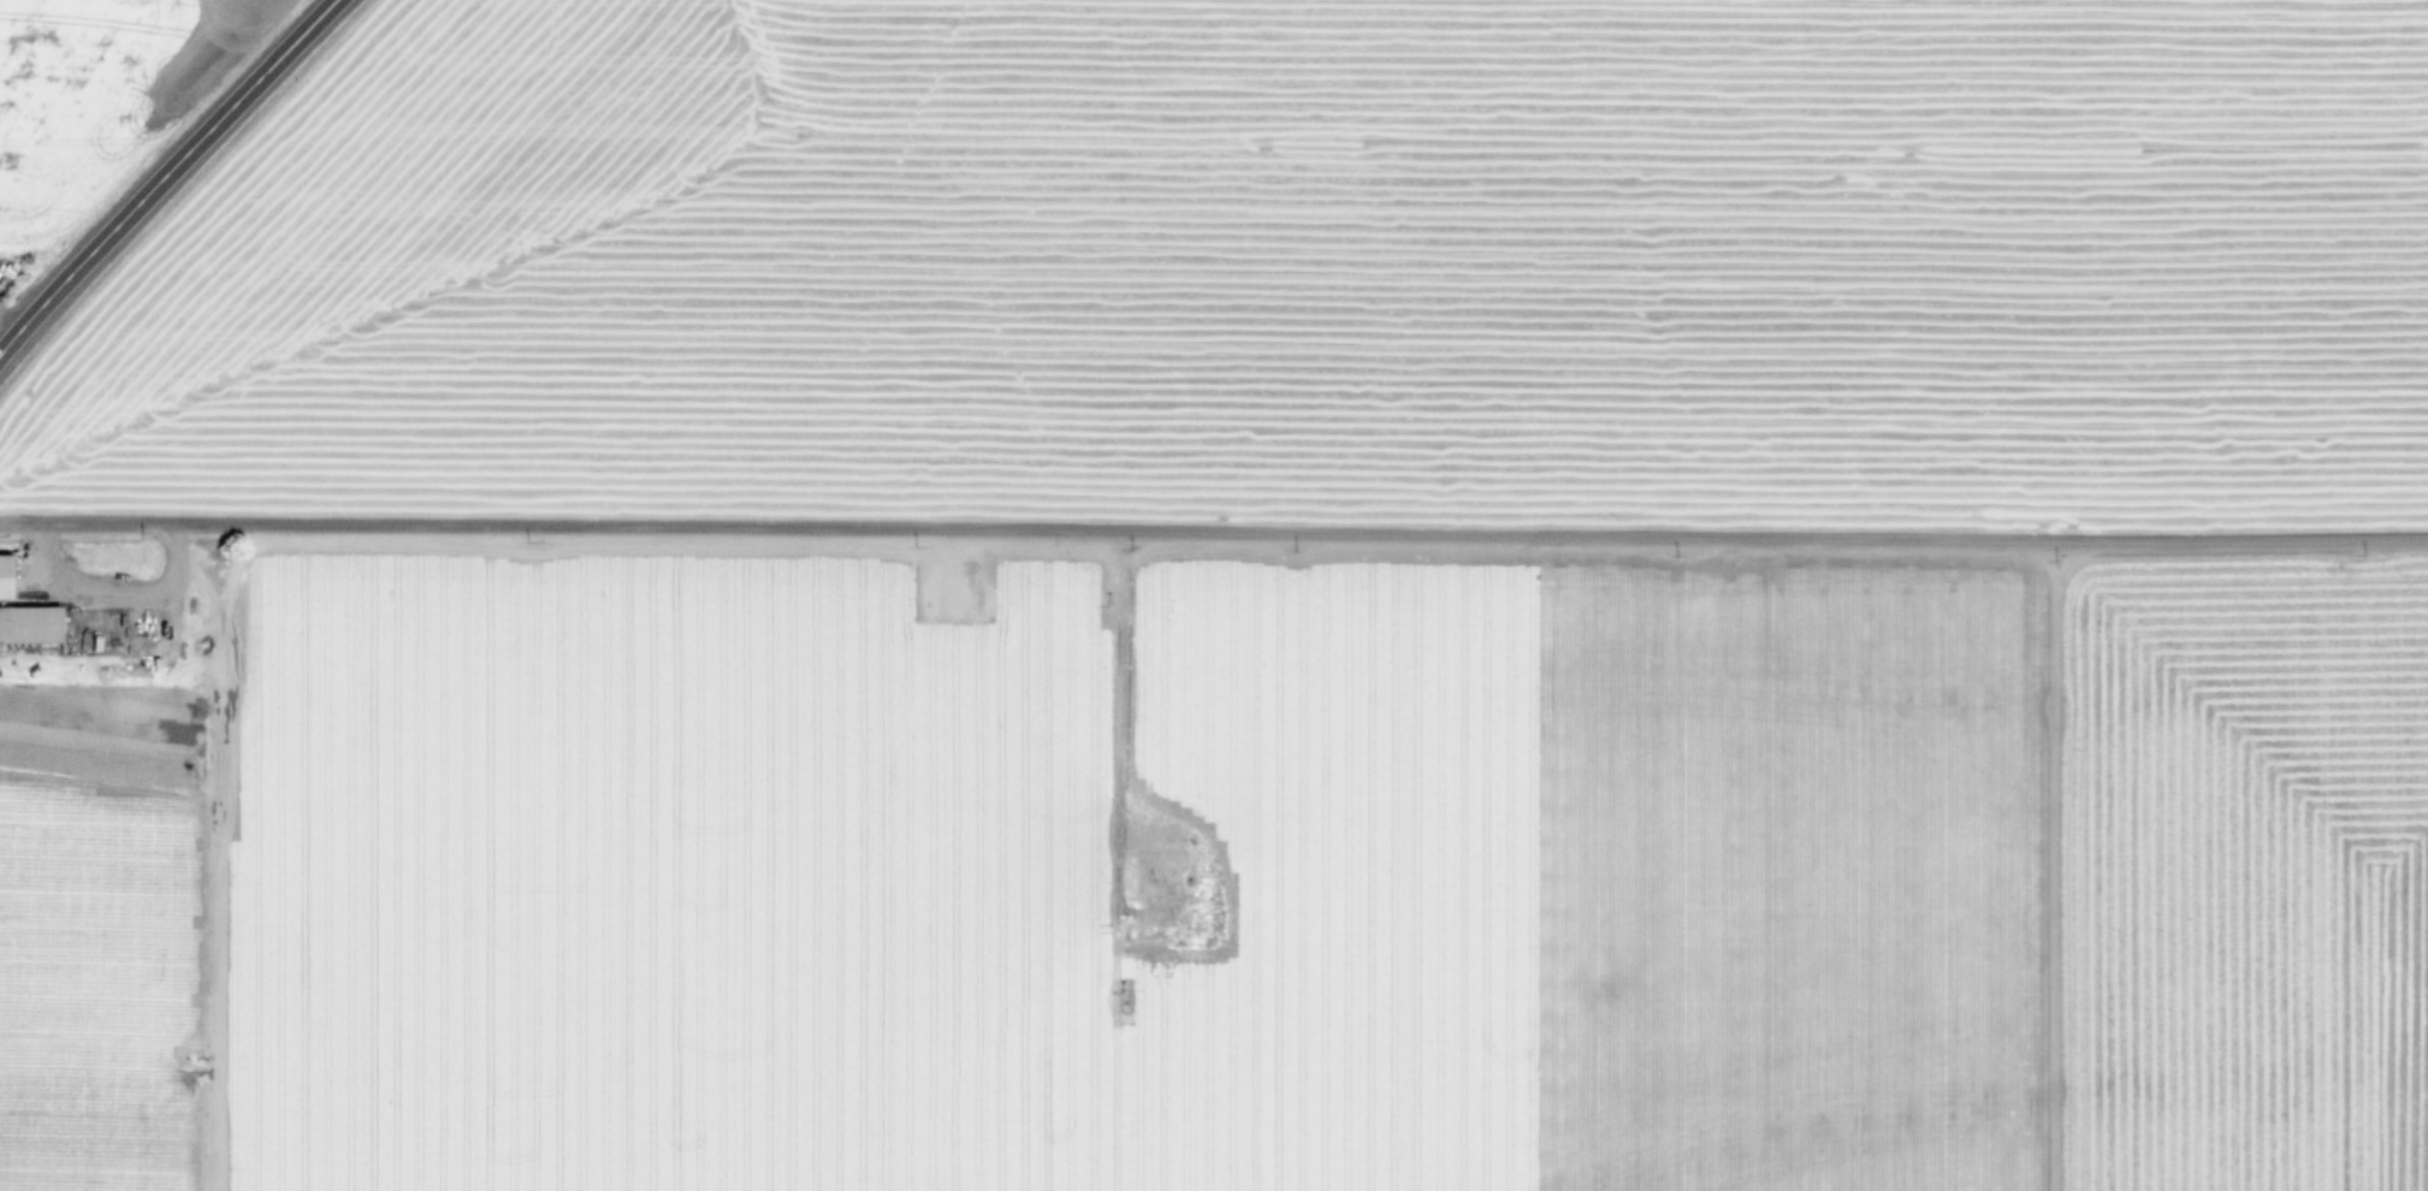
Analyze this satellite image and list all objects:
road: (166, 174)
road: (11, 321)
road: (1214, 533)
building: (1, 579)
road: (105, 587)
crop: (1214, 595)
building: (30, 627)
road: (1119, 716)
building: (1162, 835)
building: (1154, 879)

